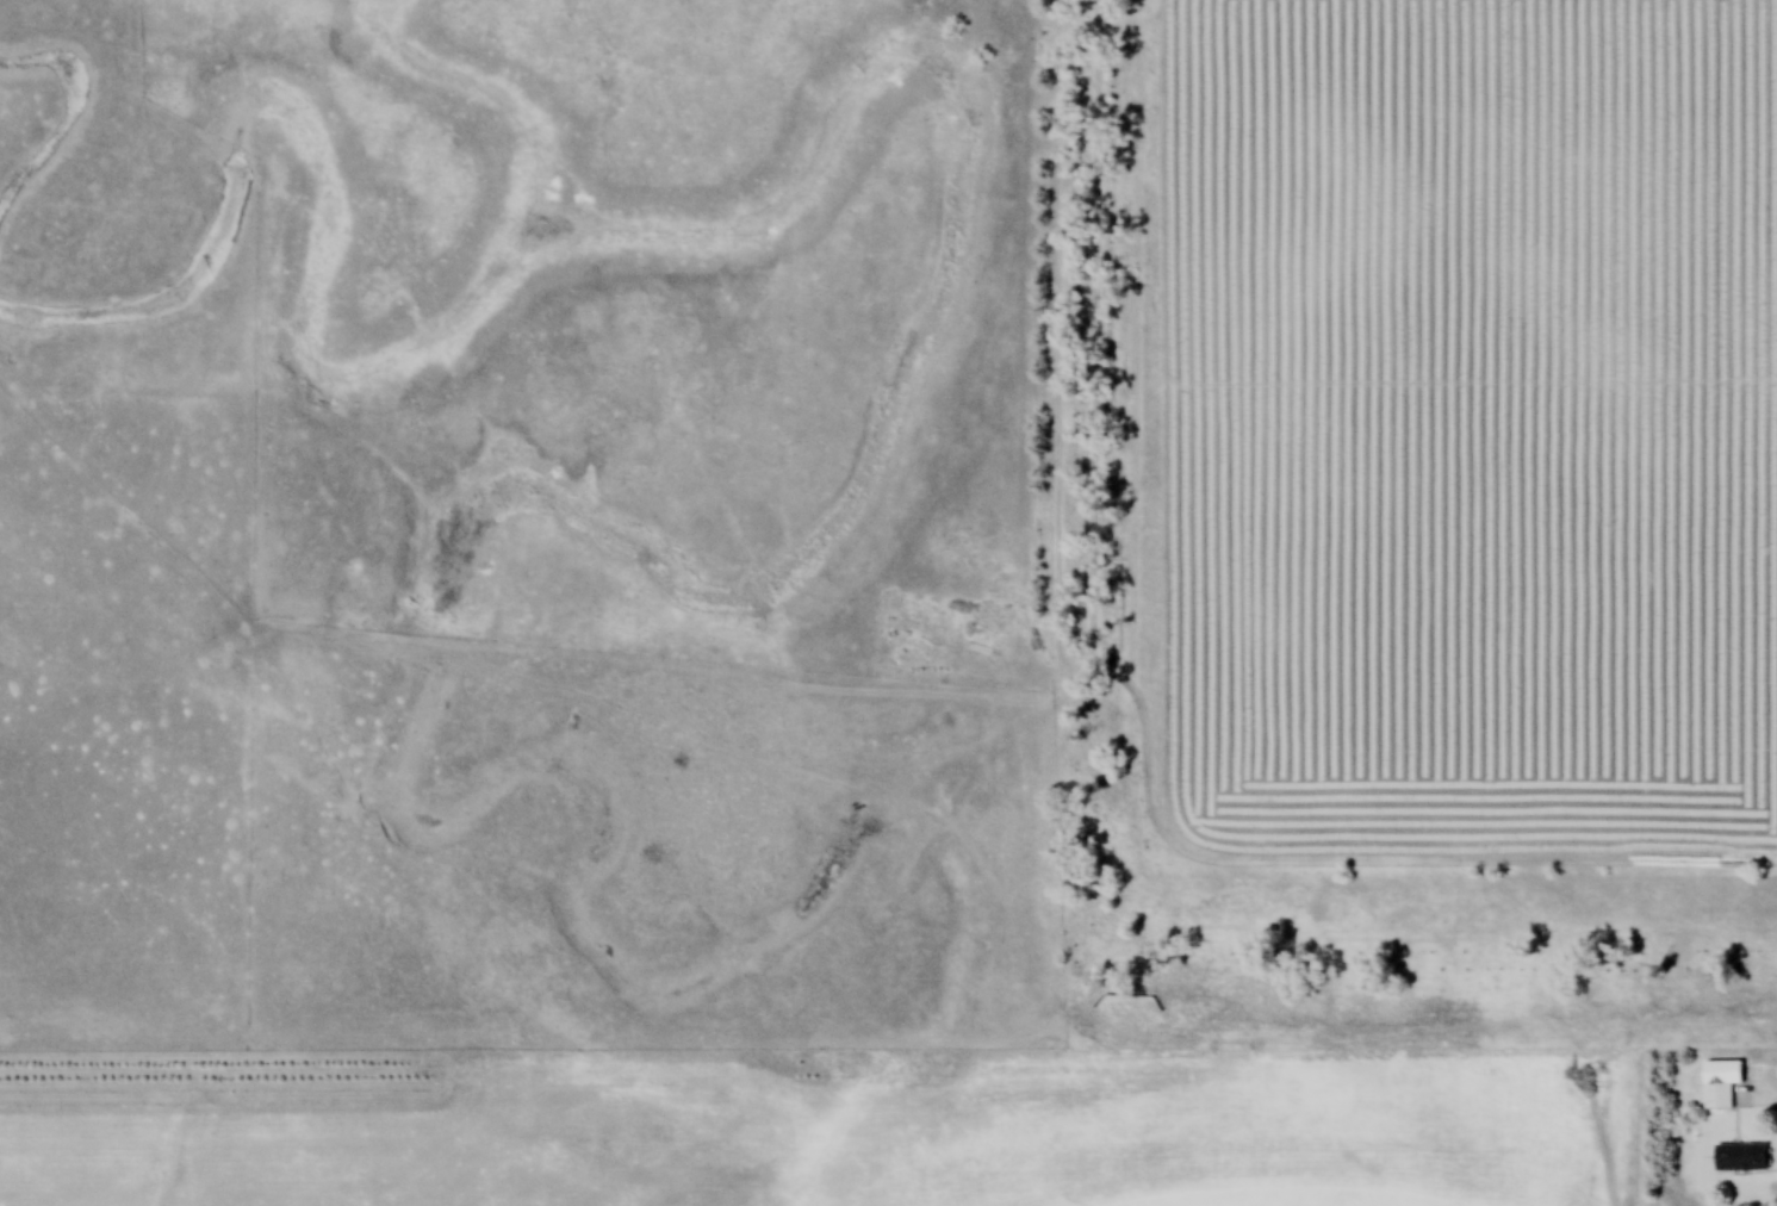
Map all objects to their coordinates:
building: (1722, 1083)
road: (1772, 1102)
building: (1744, 1157)

